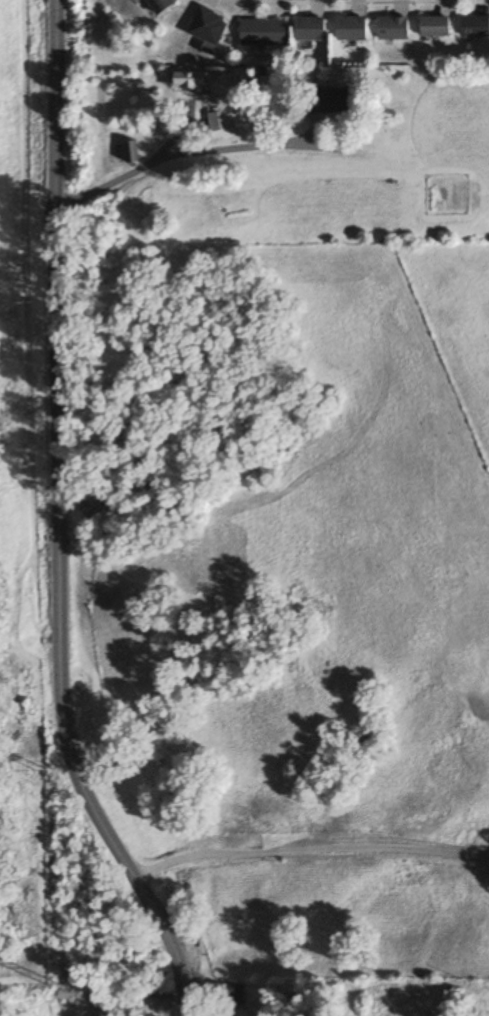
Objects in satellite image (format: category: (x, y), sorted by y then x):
building: (162, 5)
building: (209, 26)
building: (436, 26)
building: (475, 26)
building: (394, 27)
building: (352, 28)
building: (310, 29)
building: (264, 32)
building: (189, 80)
building: (334, 99)
building: (219, 120)
building: (132, 151)
power tower: (25, 303)
road: (59, 520)
power tower: (50, 773)
road: (306, 850)
building: (226, 994)
building: (160, 995)

